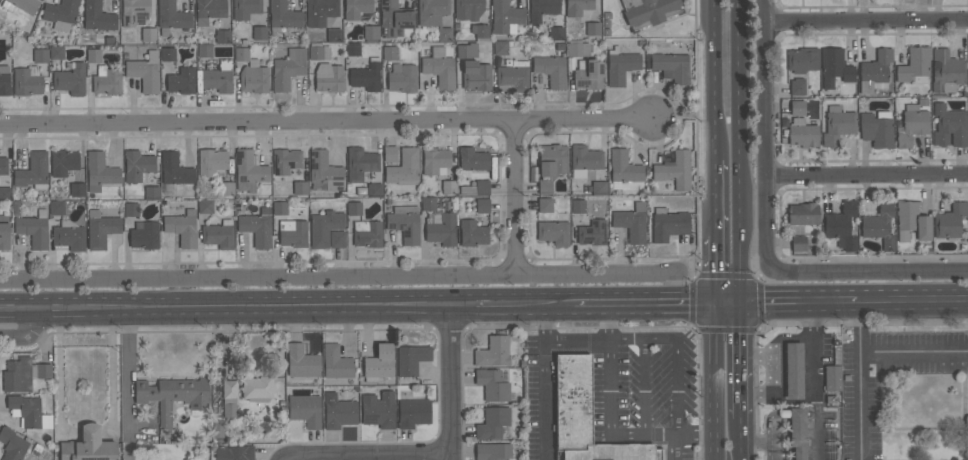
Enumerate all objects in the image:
building: (21, 5)
building: (578, 7)
building: (211, 8)
building: (246, 8)
building: (357, 8)
building: (468, 9)
building: (542, 9)
road: (767, 10)
building: (61, 11)
building: (320, 11)
building: (135, 12)
building: (649, 12)
building: (172, 15)
building: (283, 15)
building: (98, 16)
building: (435, 16)
building: (506, 17)
building: (394, 18)
road: (868, 21)
building: (593, 29)
building: (480, 31)
building: (371, 32)
building: (260, 33)
building: (556, 33)
building: (148, 34)
building: (334, 35)
building: (223, 36)
building: (500, 48)
building: (352, 49)
building: (578, 49)
building: (205, 50)
building: (467, 50)
building: (56, 51)
building: (316, 52)
building: (389, 53)
building: (168, 54)
building: (40, 55)
building: (93, 55)
building: (802, 60)
building: (621, 65)
building: (915, 65)
building: (289, 67)
building: (440, 67)
building: (671, 67)
building: (835, 67)
building: (551, 69)
building: (875, 71)
building: (947, 71)
building: (145, 72)
building: (251, 73)
building: (476, 75)
building: (589, 75)
building: (366, 76)
building: (514, 76)
building: (329, 77)
building: (70, 79)
building: (403, 79)
building: (5, 80)
building: (107, 80)
building: (217, 80)
road: (714, 80)
building: (27, 81)
building: (182, 81)
building: (797, 86)
building: (798, 107)
road: (328, 120)
building: (838, 125)
building: (949, 126)
building: (912, 127)
building: (877, 130)
building: (802, 133)
road: (766, 142)
road: (740, 152)
building: (390, 154)
building: (286, 160)
building: (472, 160)
building: (584, 160)
building: (435, 161)
building: (63, 162)
building: (211, 162)
building: (360, 163)
building: (3, 165)
building: (137, 165)
building: (551, 165)
building: (624, 167)
building: (404, 168)
building: (175, 169)
building: (675, 170)
building: (249, 171)
building: (33, 172)
building: (100, 172)
building: (324, 172)
road: (867, 176)
building: (449, 187)
building: (482, 187)
building: (226, 188)
building: (300, 188)
building: (599, 188)
building: (77, 189)
building: (375, 190)
building: (5, 193)
building: (152, 193)
road: (522, 195)
road: (713, 198)
building: (429, 203)
building: (545, 205)
building: (205, 206)
building: (482, 206)
building: (578, 206)
building: (57, 207)
building: (280, 208)
building: (354, 208)
building: (131, 209)
building: (803, 213)
building: (913, 220)
building: (949, 220)
building: (632, 222)
building: (405, 223)
building: (669, 224)
building: (880, 225)
building: (841, 226)
building: (183, 227)
building: (257, 227)
building: (324, 227)
building: (442, 228)
building: (34, 229)
building: (100, 229)
building: (554, 232)
building: (592, 232)
building: (4, 233)
building: (293, 233)
building: (367, 233)
building: (472, 233)
building: (219, 234)
building: (69, 235)
building: (145, 235)
building: (337, 239)
building: (799, 243)
road: (712, 270)
road: (866, 272)
road: (341, 273)
road: (477, 301)
road: (912, 301)
road: (538, 302)
road: (642, 303)
road: (797, 303)
road: (225, 304)
traffic signals: (712, 304)
road: (725, 304)
traffic signals: (739, 305)
road: (806, 337)
road: (31, 338)
road: (660, 339)
road: (576, 340)
road: (624, 340)
road: (912, 351)
building: (493, 352)
building: (412, 359)
building: (302, 361)
road: (740, 361)
building: (380, 362)
building: (336, 363)
building: (794, 371)
building: (23, 374)
road: (779, 375)
building: (833, 378)
road: (450, 380)
road: (545, 380)
road: (857, 381)
road: (713, 382)
road: (128, 383)
building: (492, 385)
road: (608, 385)
road: (815, 387)
building: (257, 388)
gas station: (798, 393)
building: (173, 395)
building: (230, 398)
building: (831, 400)
building: (26, 409)
building: (378, 409)
building: (305, 410)
building: (338, 411)
building: (413, 412)
road: (798, 413)
road: (811, 413)
building: (586, 417)
road: (771, 419)
building: (493, 423)
road: (815, 429)
building: (798, 432)
road: (697, 433)
road: (661, 434)
road: (741, 438)
road: (756, 440)
building: (12, 444)
building: (89, 446)
road: (679, 447)
road: (771, 450)
building: (493, 451)
building: (234, 452)
road: (390, 457)

